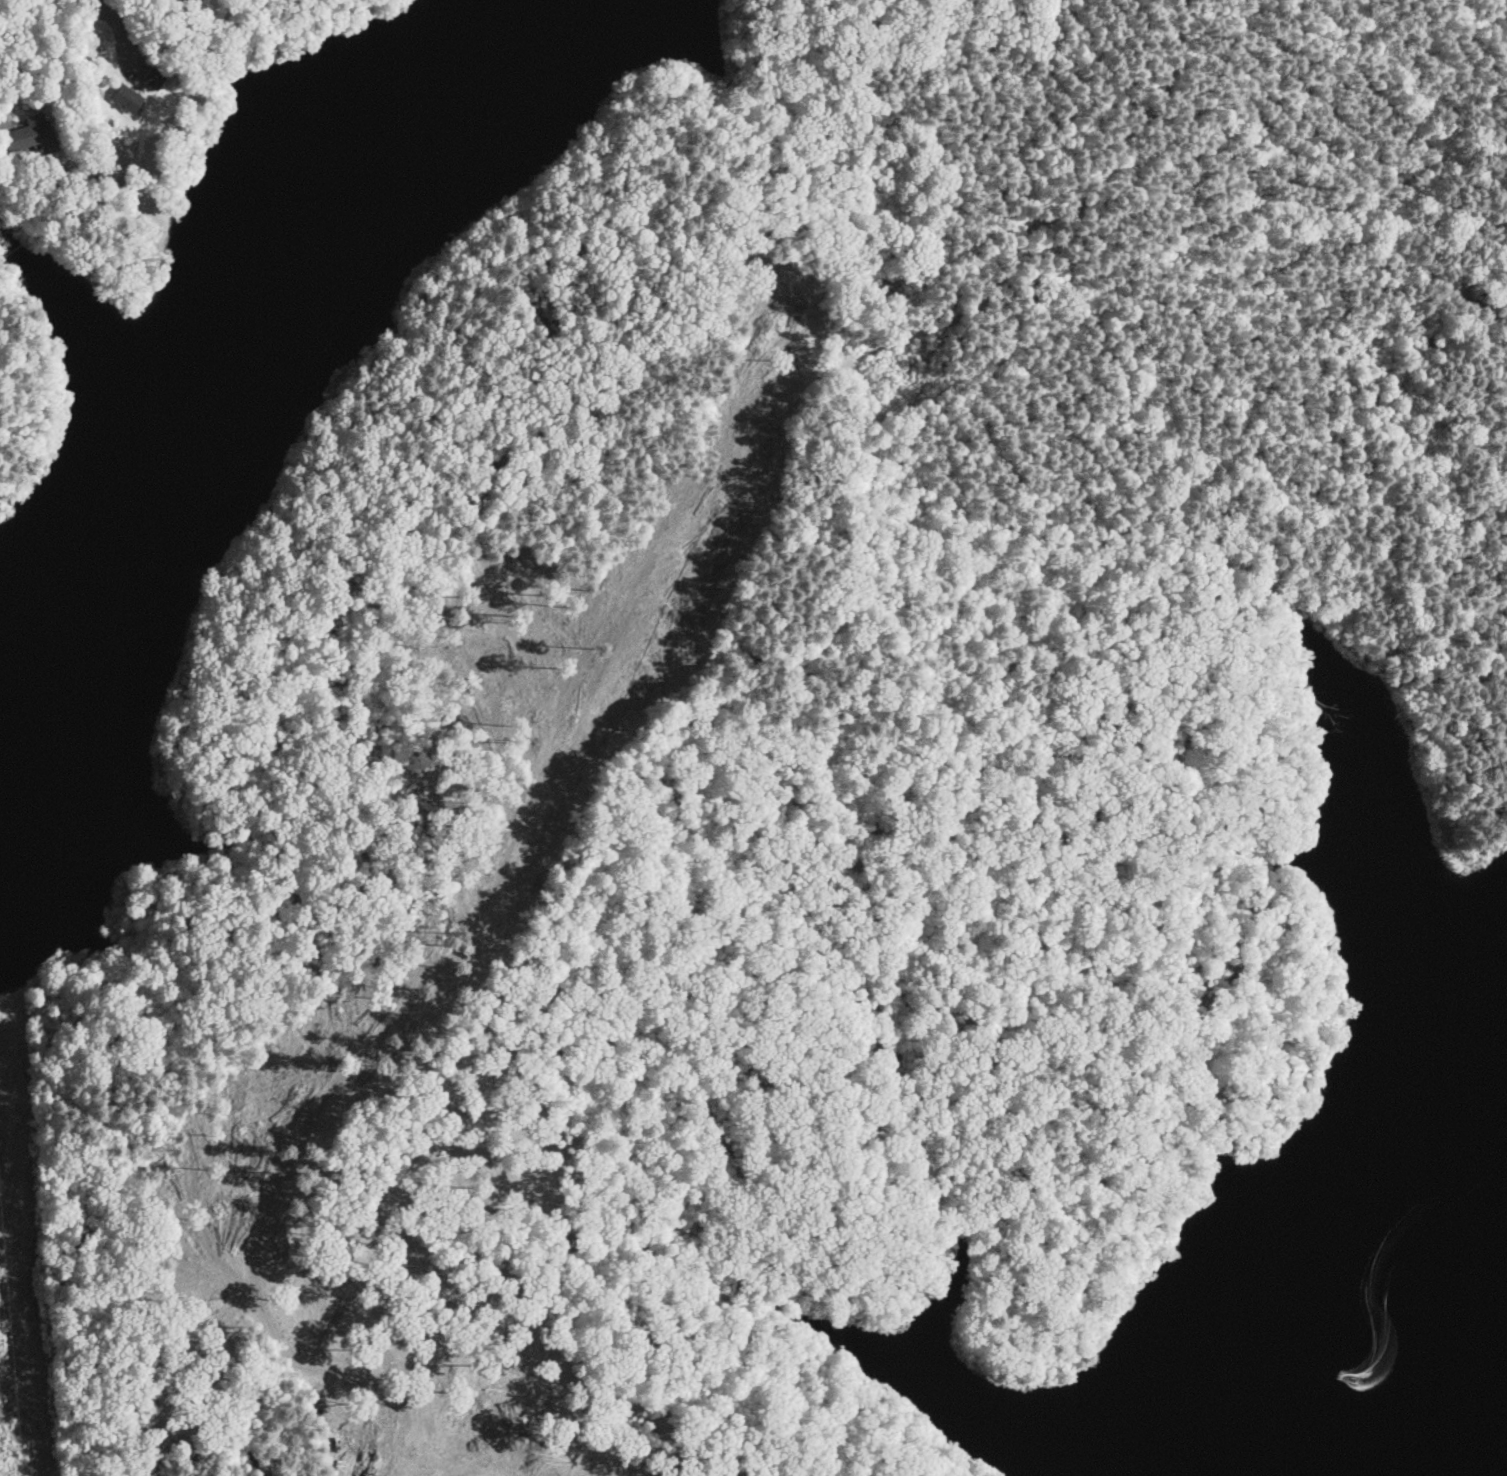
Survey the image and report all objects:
building: (157, 80)
building: (131, 100)
building: (32, 133)

